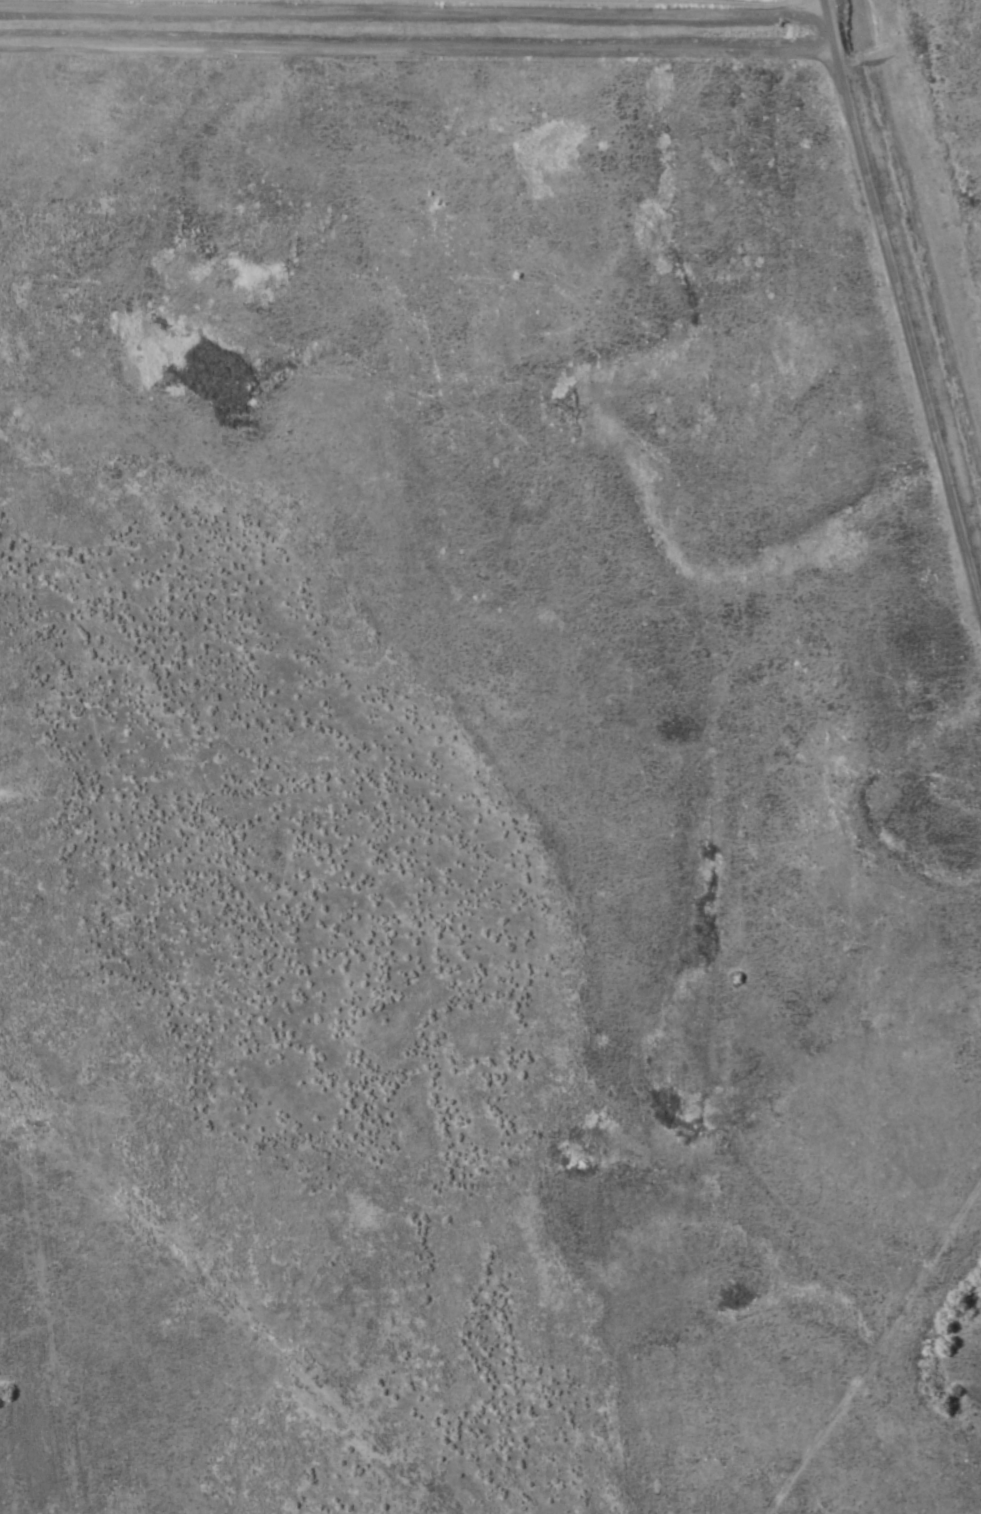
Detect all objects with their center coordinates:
road: (889, 339)

